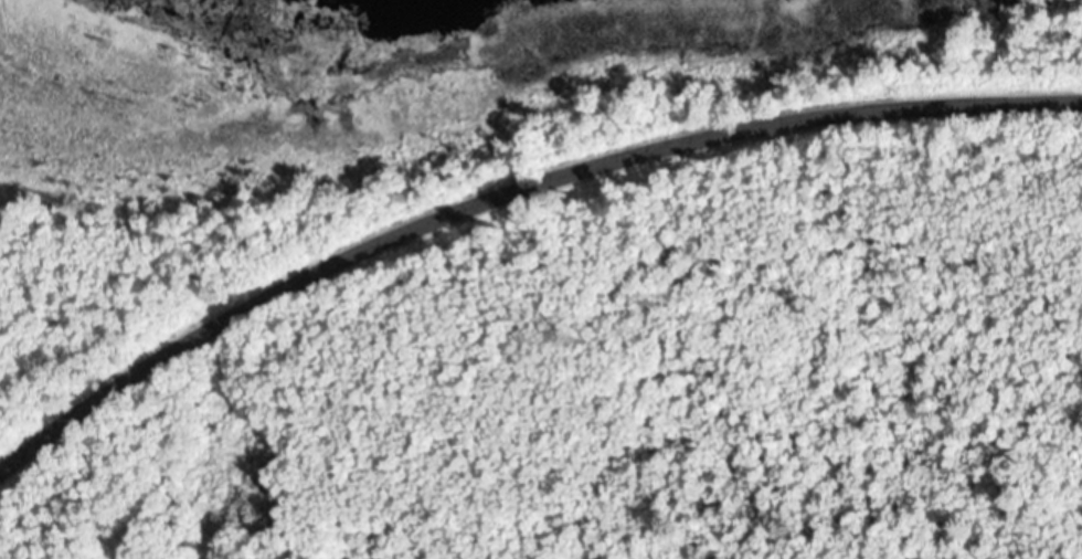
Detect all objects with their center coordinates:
road: (508, 186)

